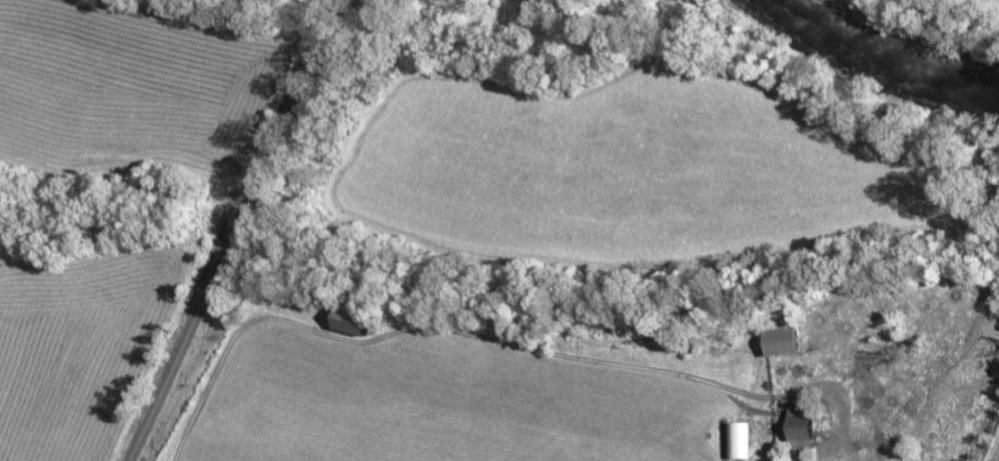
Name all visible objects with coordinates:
road: (235, 230)
building: (365, 320)
building: (792, 341)
road: (498, 343)
building: (807, 428)
building: (740, 440)

